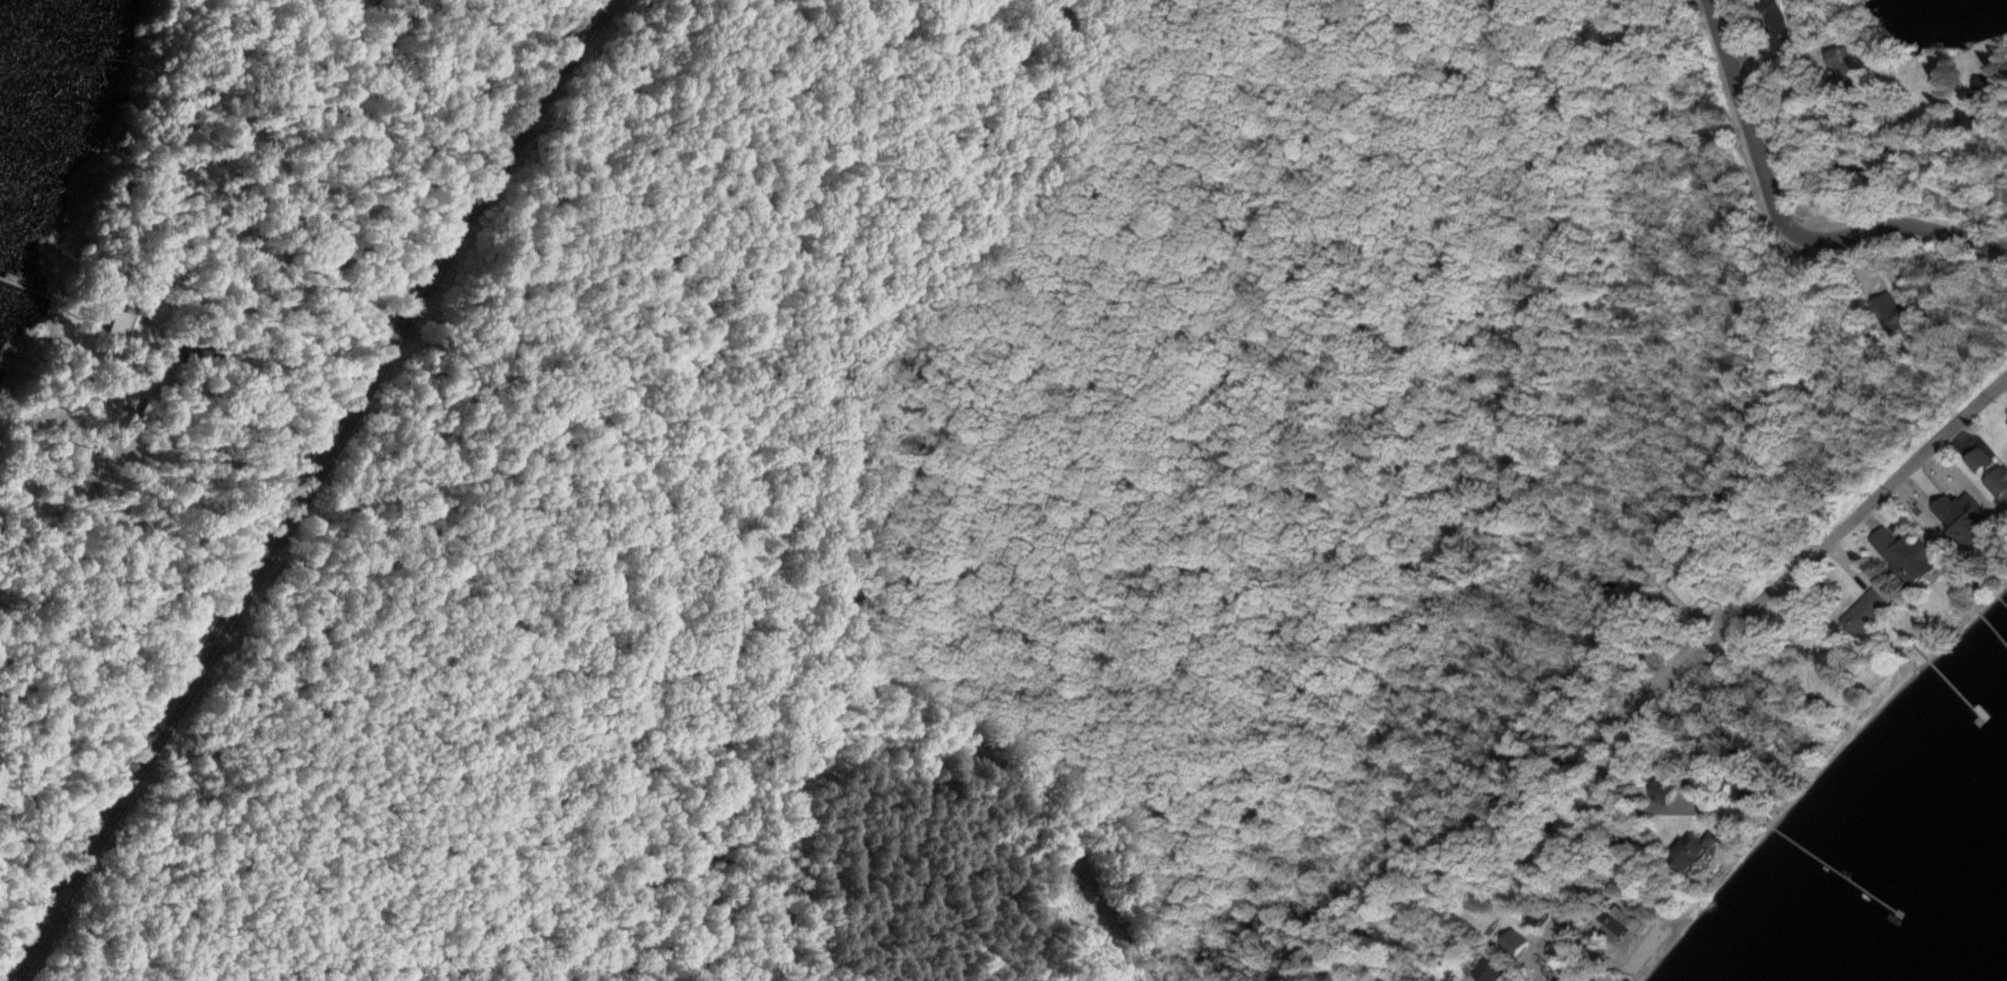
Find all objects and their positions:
building: (1774, 19)
river: (1947, 20)
road: (1780, 227)
road: (457, 234)
building: (1889, 307)
building: (128, 324)
road: (257, 378)
building: (178, 391)
building: (143, 407)
road: (1927, 452)
building: (1947, 495)
road: (1818, 551)
building: (1904, 558)
building: (1688, 590)
building: (1863, 617)
road: (1709, 638)
road: (484, 669)
road: (157, 726)
road: (1001, 763)
building: (1688, 858)
building: (1615, 926)
road: (1525, 960)
building: (1565, 978)

